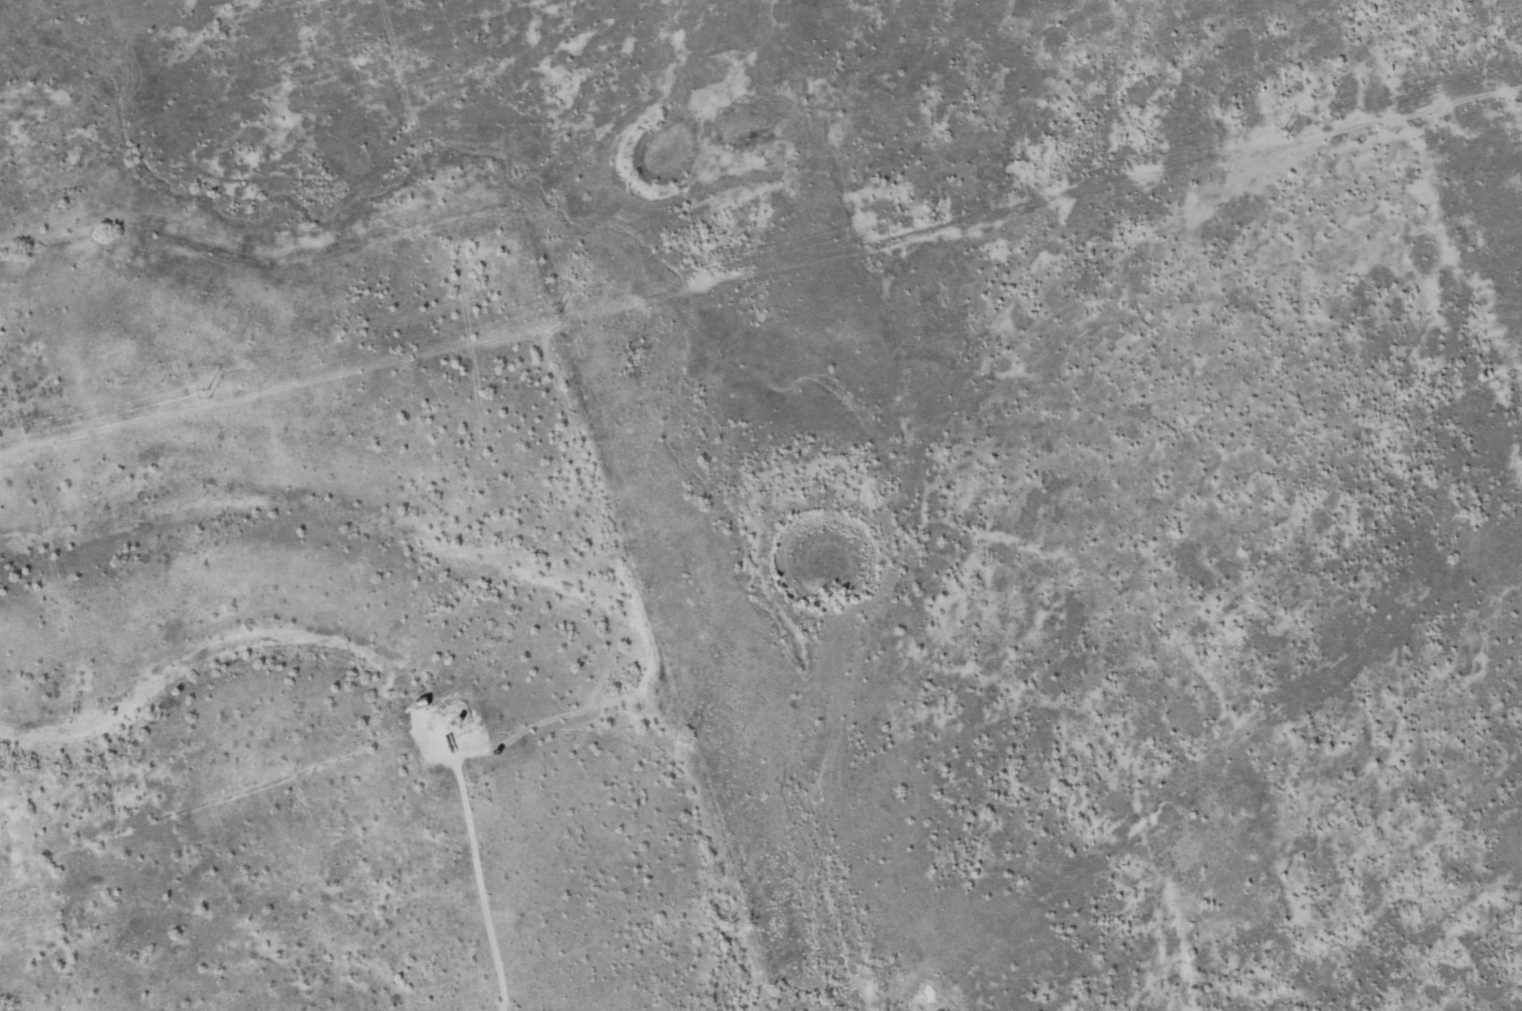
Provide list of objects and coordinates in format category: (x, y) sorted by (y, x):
power tower: (1287, 131)
power tower: (906, 223)
power tower: (553, 310)
power tower: (203, 394)

